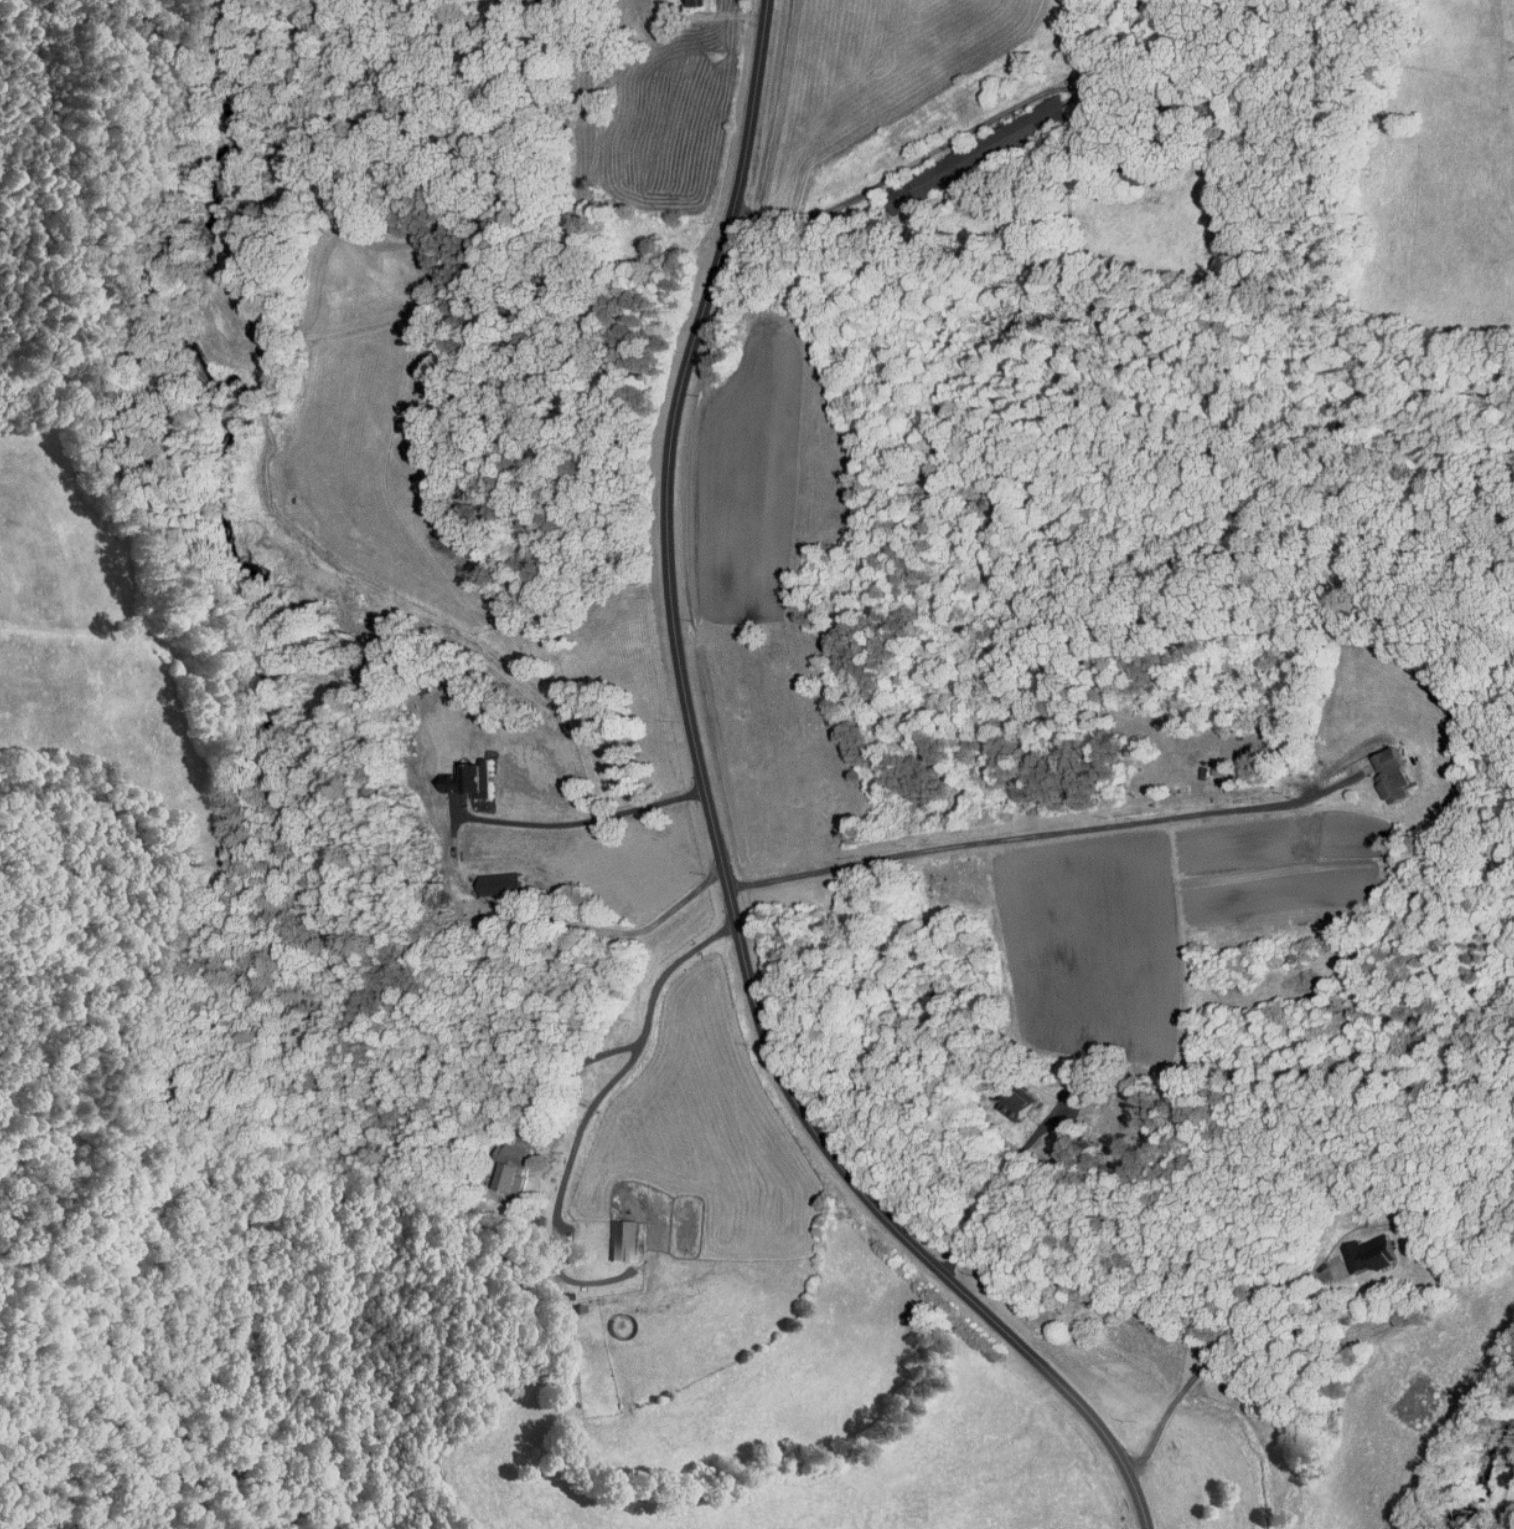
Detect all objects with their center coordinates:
building: (692, 2)
building: (970, 158)
building: (1219, 769)
building: (1392, 776)
building: (469, 782)
road: (582, 820)
road: (713, 830)
road: (1026, 835)
building: (499, 884)
road: (639, 1037)
building: (1016, 1105)
building: (510, 1168)
road: (561, 1181)
road: (995, 1190)
building: (623, 1239)
building: (1369, 1253)
road: (1215, 1353)

